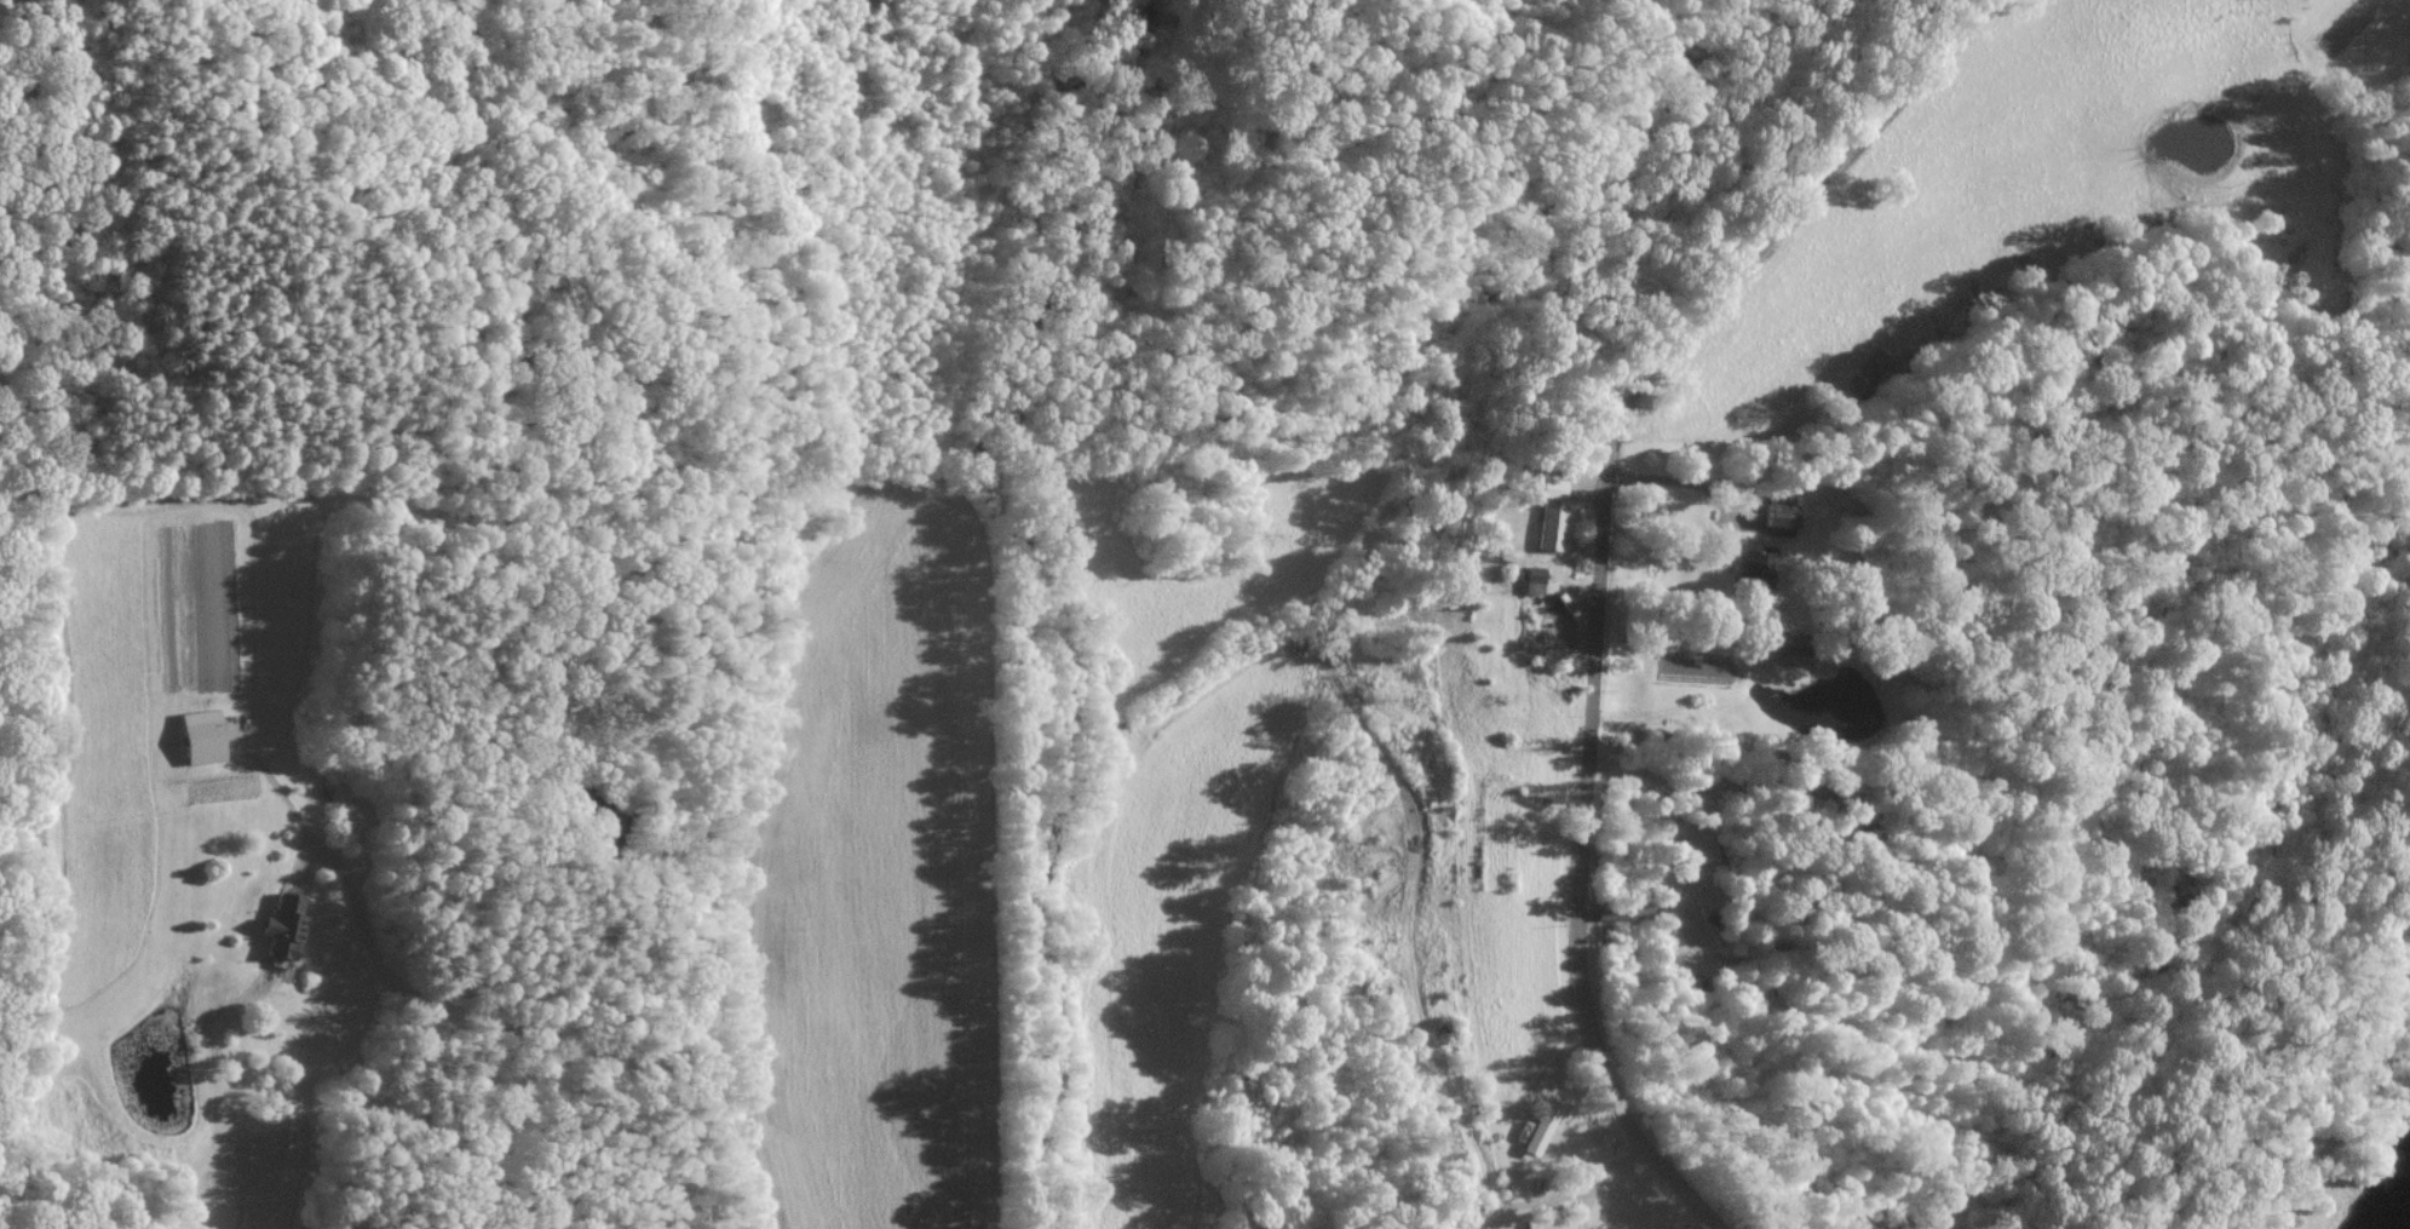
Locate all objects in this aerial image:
road: (1672, 482)
building: (1551, 488)
building: (1548, 524)
road: (1604, 567)
building: (1753, 569)
building: (1531, 579)
building: (197, 740)
building: (280, 926)
road: (535, 1032)
building: (1540, 1124)

